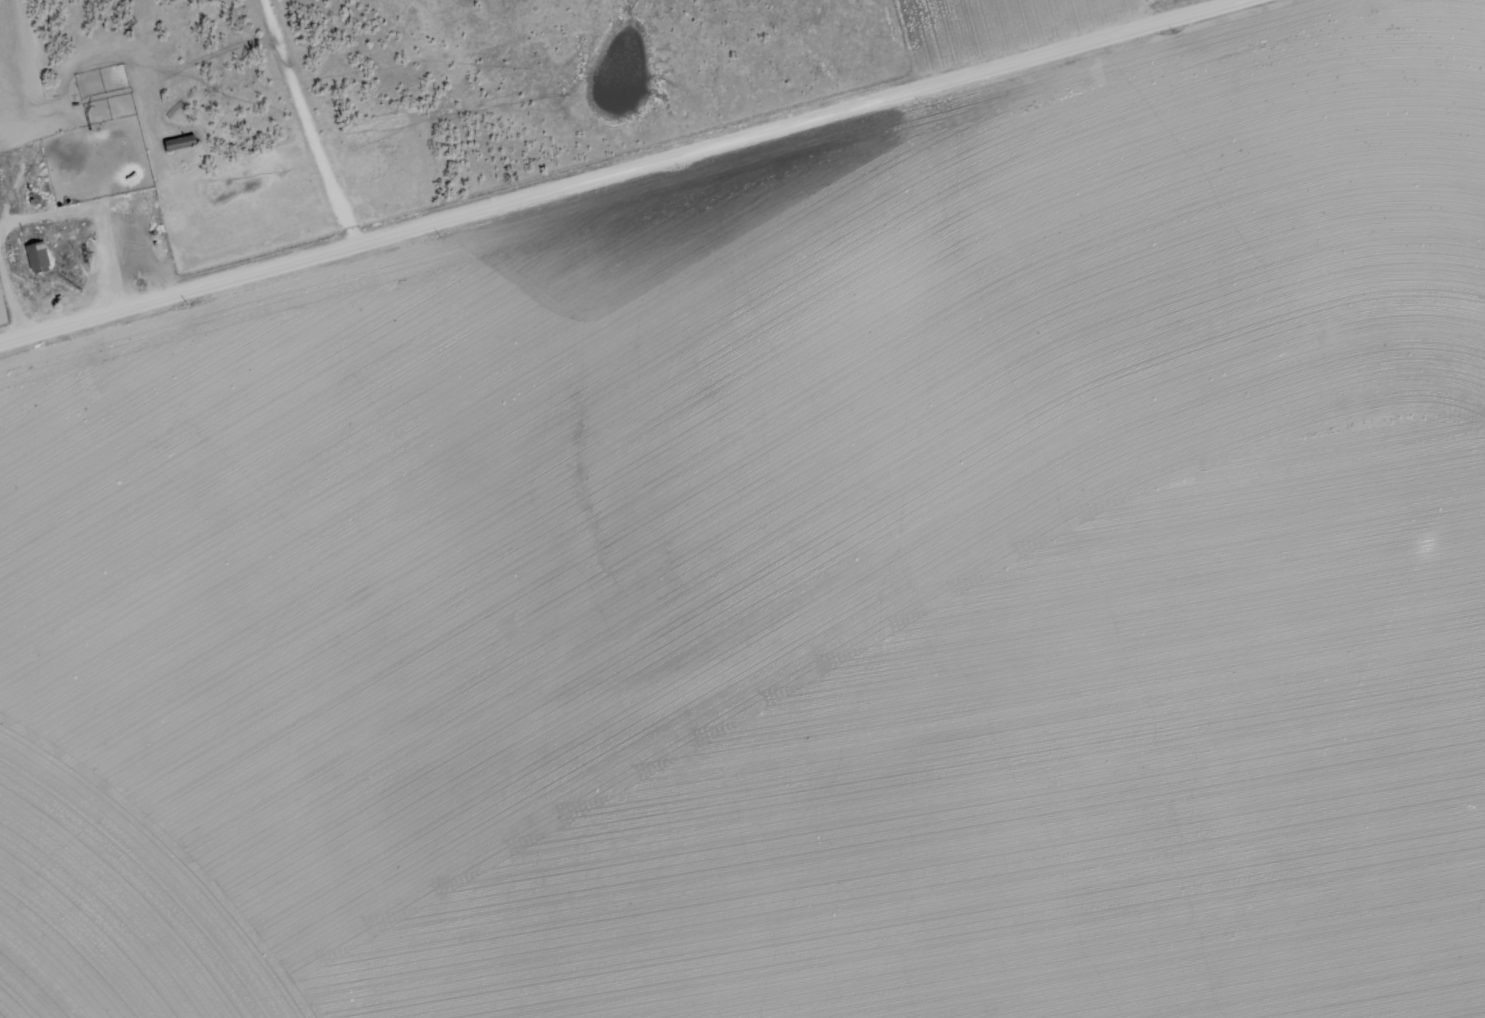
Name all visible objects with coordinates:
building: (181, 142)
road: (615, 169)
building: (38, 257)

